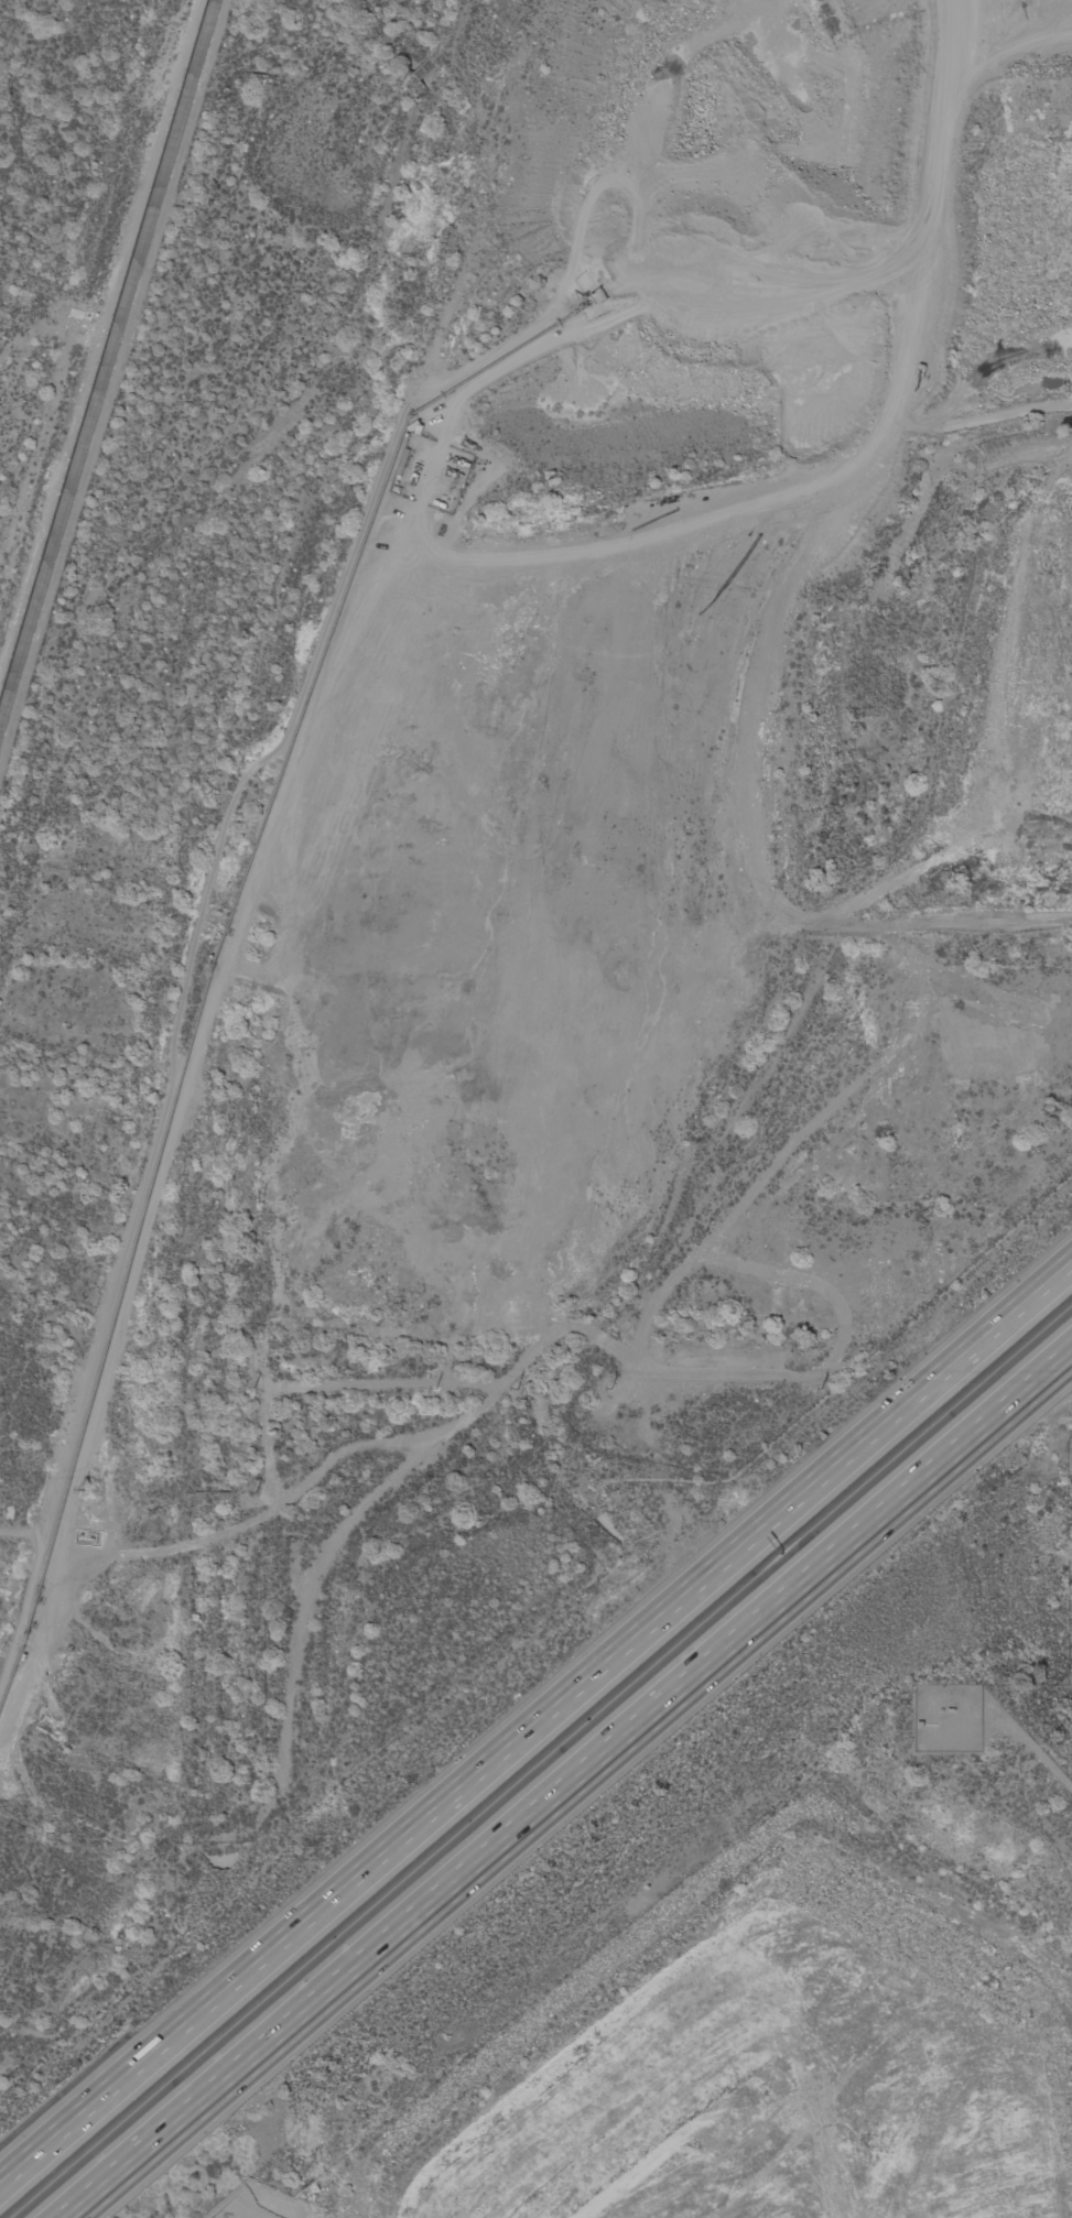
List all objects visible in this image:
quarry: (585, 927)
power tower: (823, 1390)
road: (534, 1717)
road: (575, 1788)

